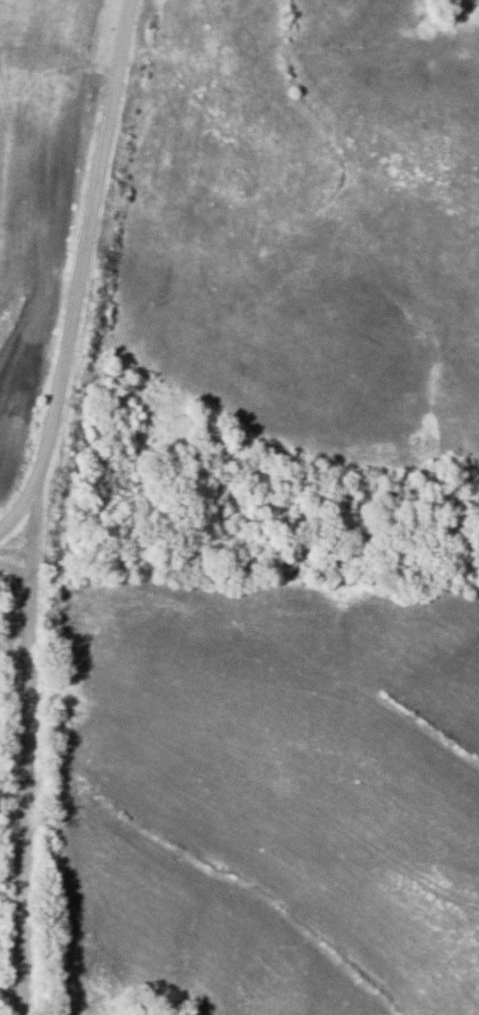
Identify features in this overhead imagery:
road: (200, 98)
road: (85, 271)
road: (30, 746)

